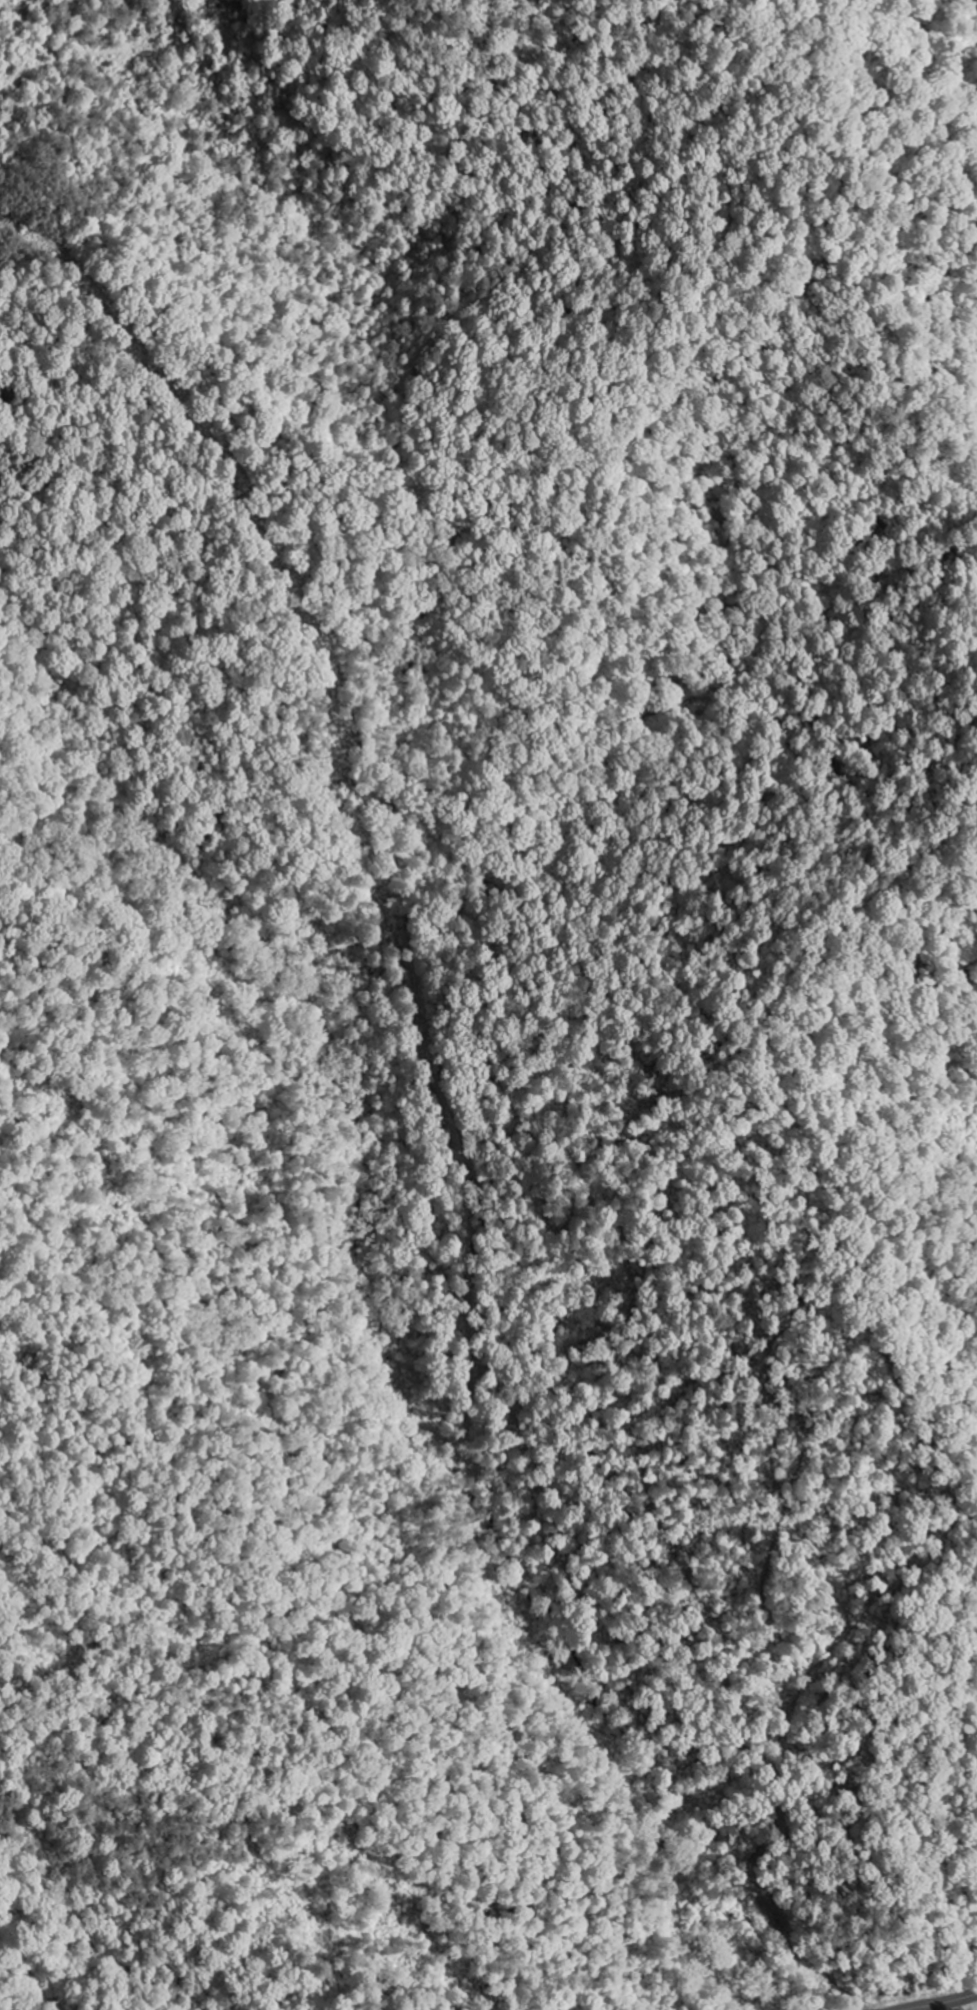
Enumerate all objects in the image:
road: (84, 1924)
road: (941, 2002)

